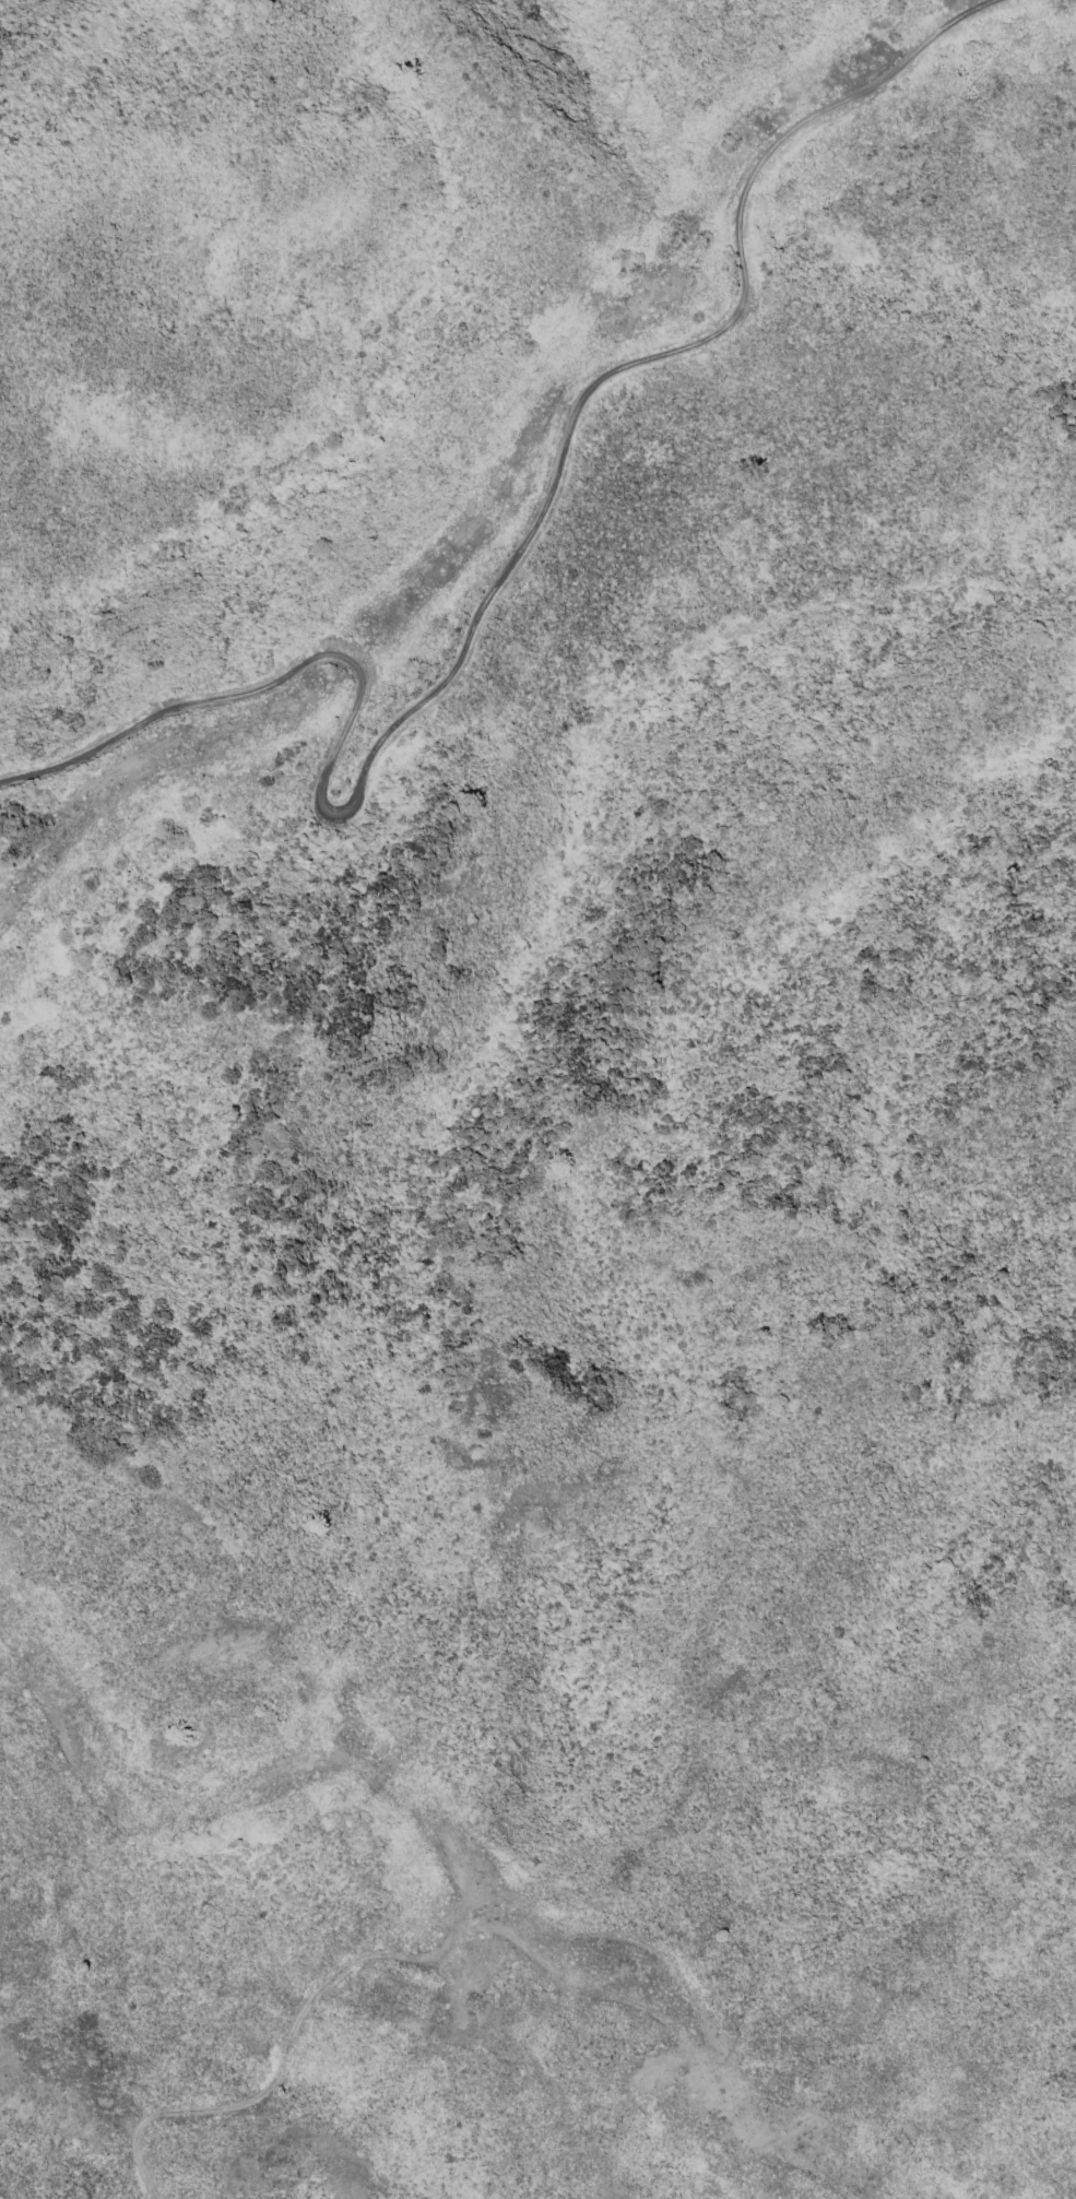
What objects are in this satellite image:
road: (497, 578)

